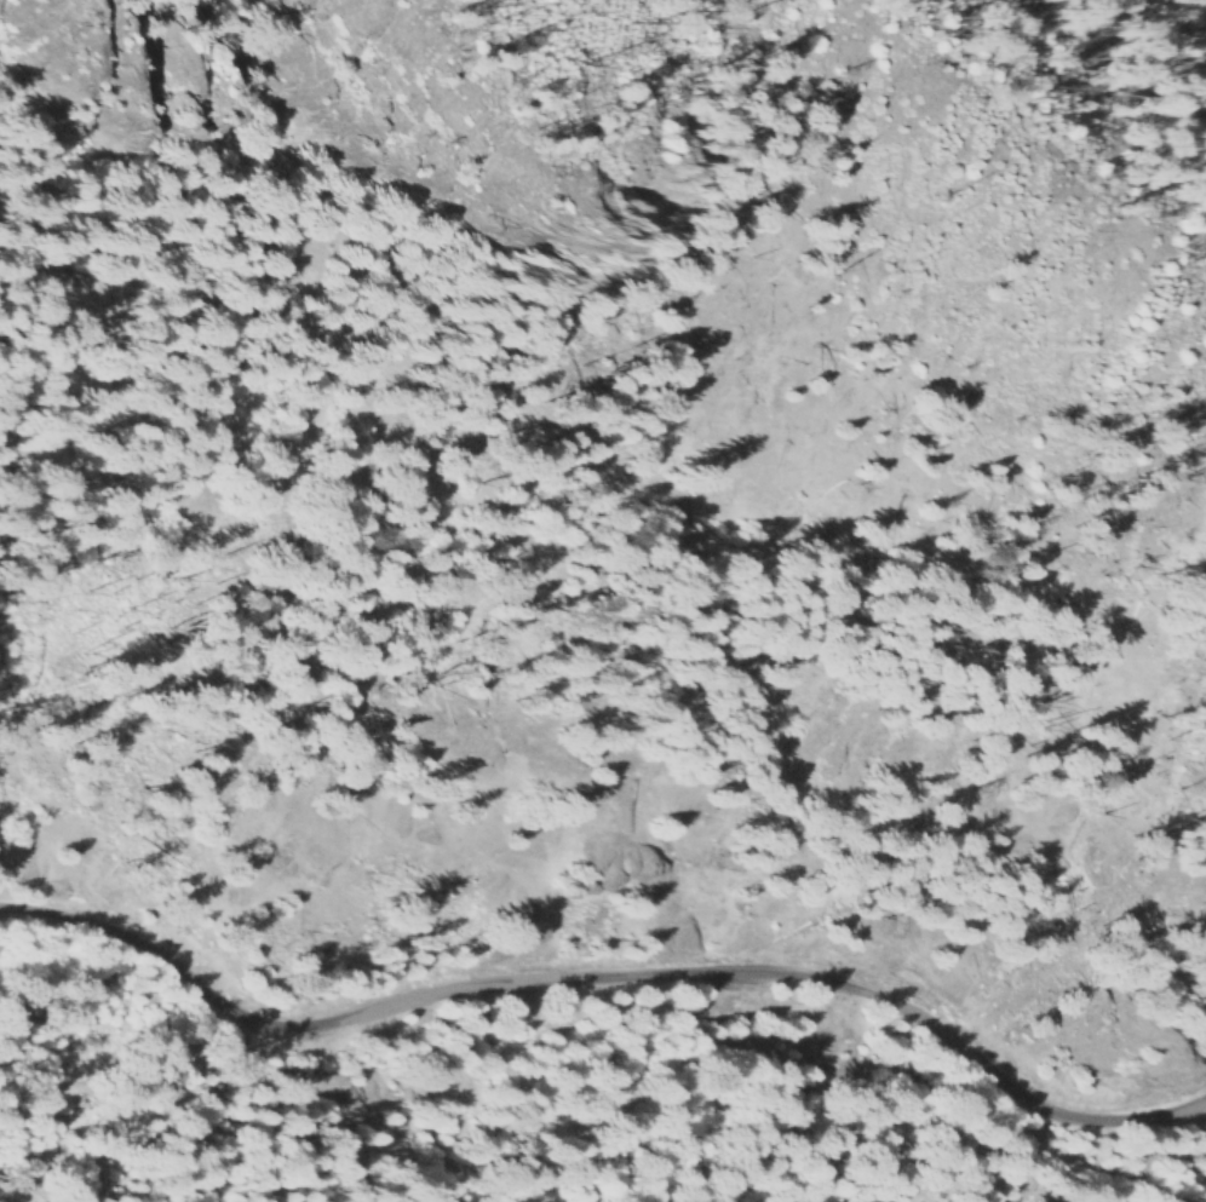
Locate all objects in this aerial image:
road: (607, 972)

